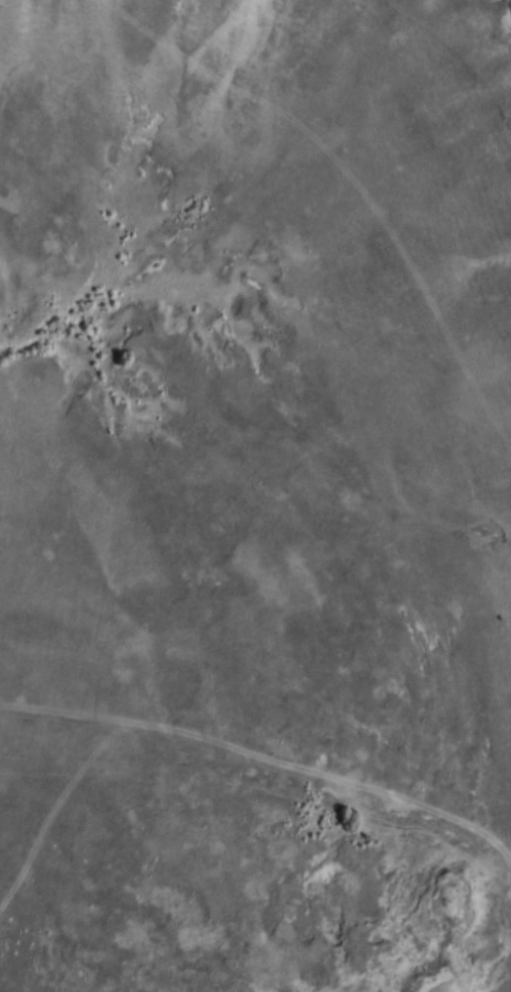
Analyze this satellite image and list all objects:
road: (260, 756)

